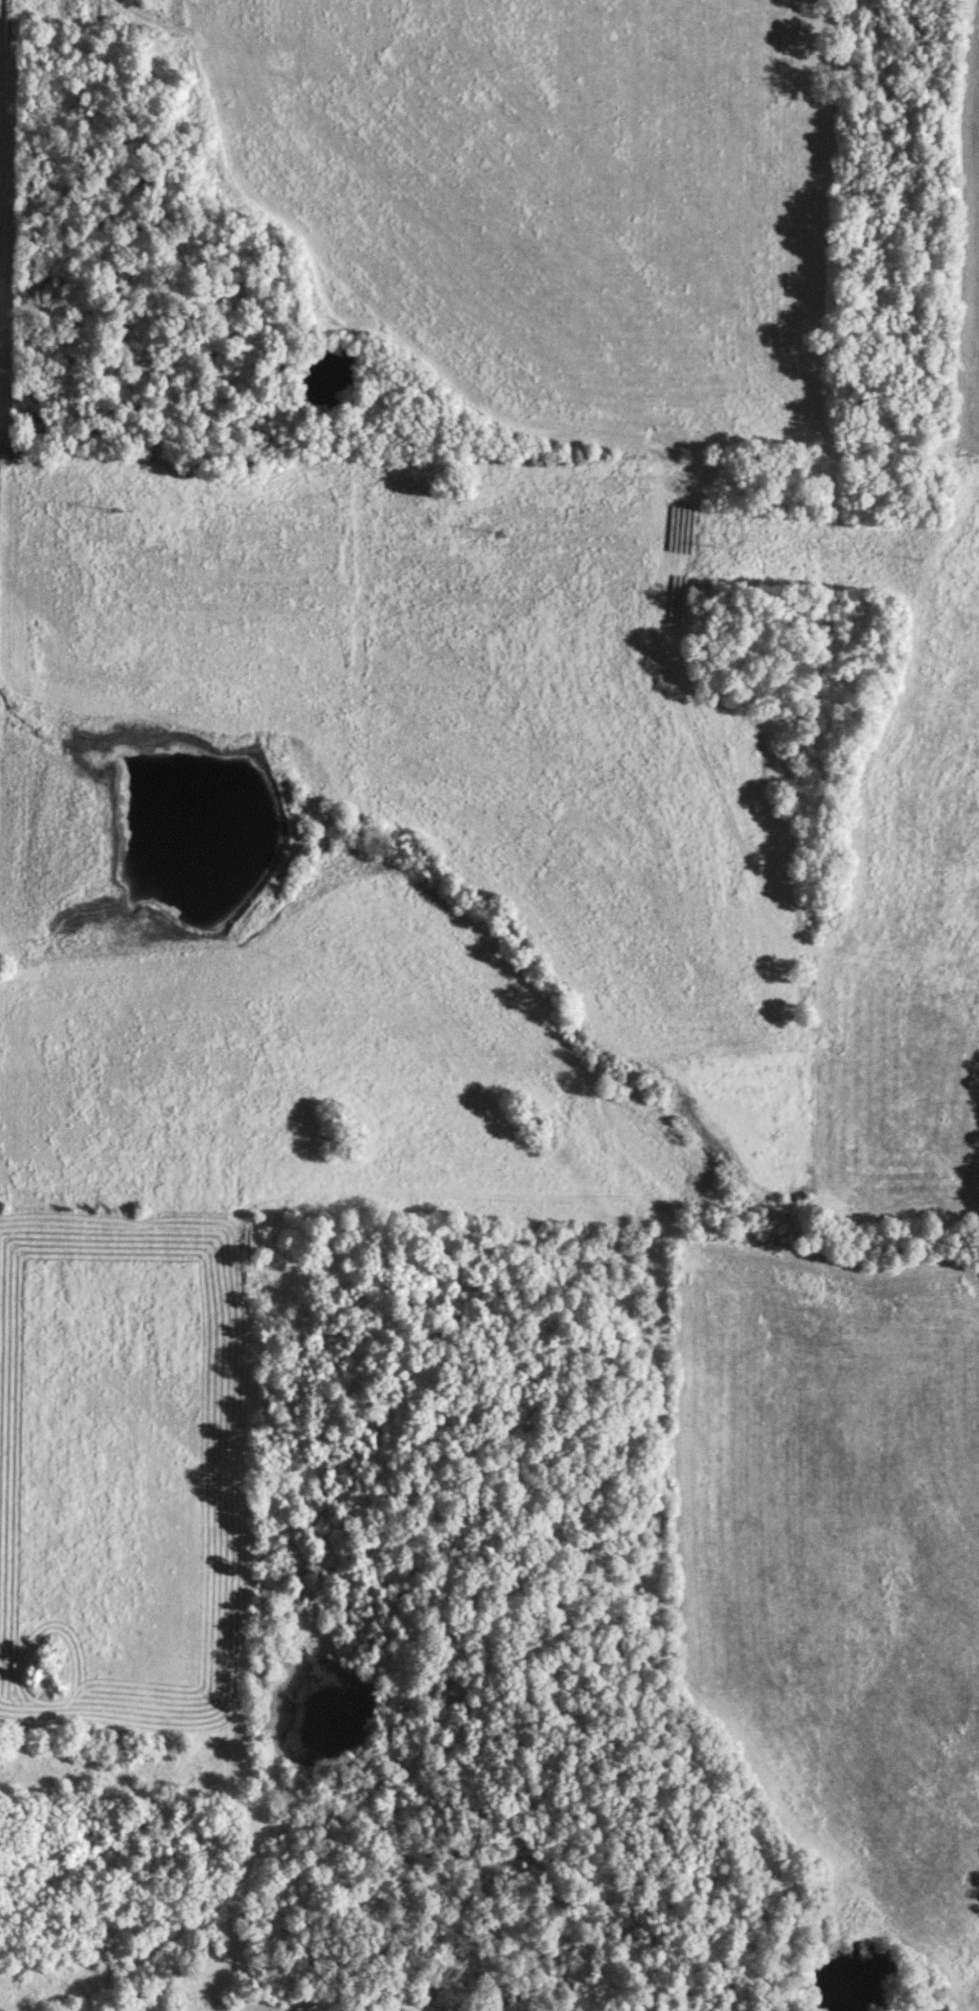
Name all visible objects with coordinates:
road: (0, 1)

